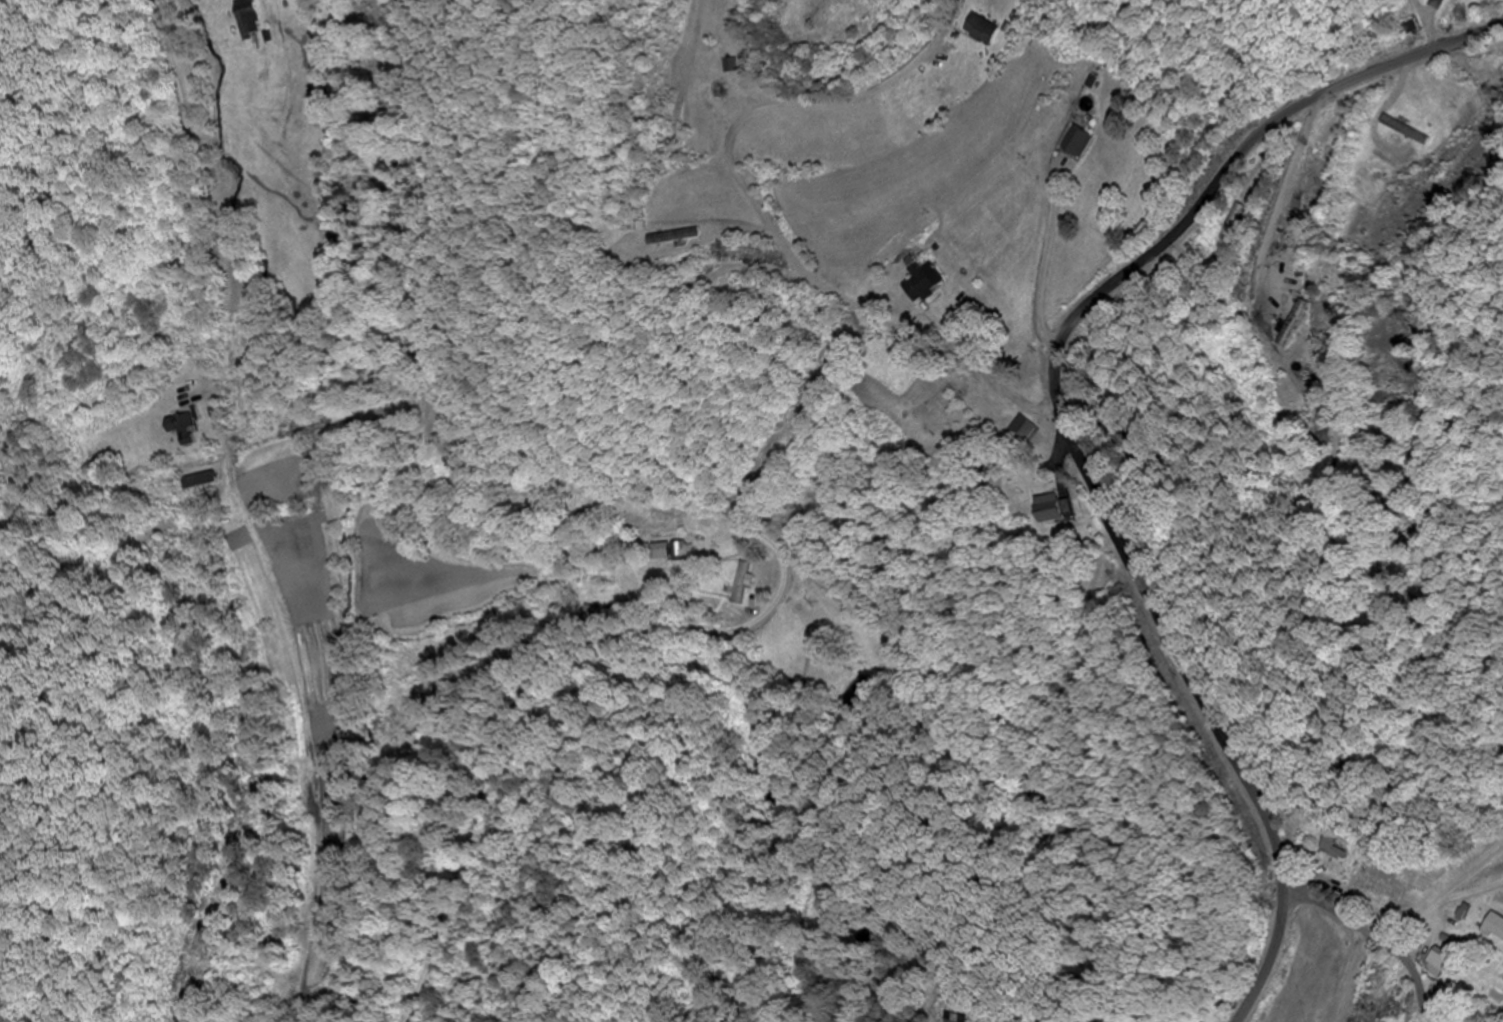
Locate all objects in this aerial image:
building: (244, 17)
building: (982, 31)
building: (1497, 71)
building: (1405, 131)
building: (1082, 145)
building: (1241, 218)
road: (776, 233)
building: (674, 237)
building: (925, 279)
road: (195, 292)
road: (1149, 370)
road: (213, 379)
road: (459, 424)
road: (1069, 433)
building: (1030, 437)
building: (1049, 509)
building: (667, 552)
building: (741, 583)
building: (1365, 889)
building: (1461, 913)
building: (1494, 926)
road: (1459, 929)
road: (1377, 934)
building: (1438, 963)
building: (963, 1018)

